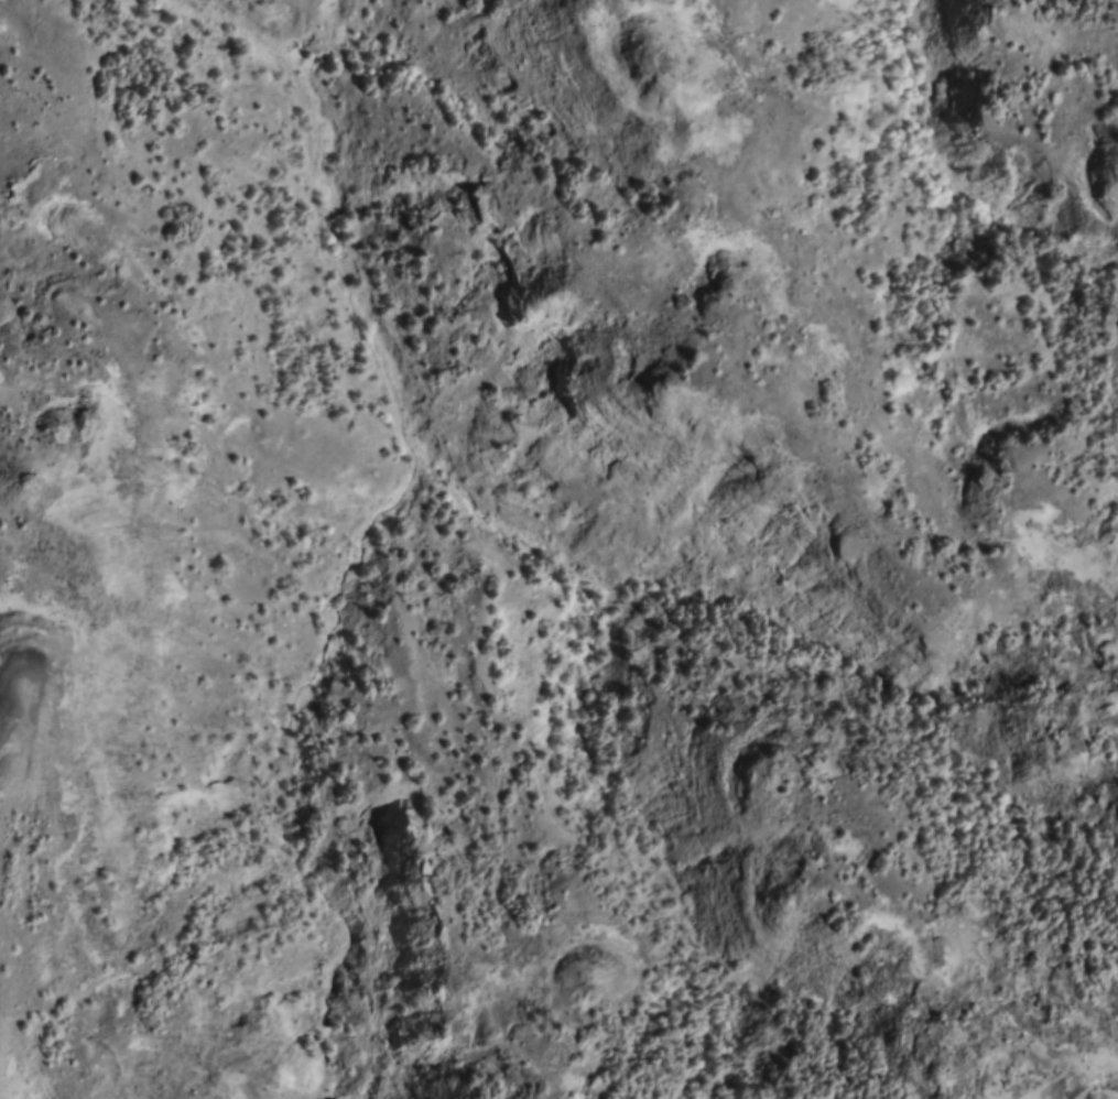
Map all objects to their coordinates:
road: (1067, 1075)

